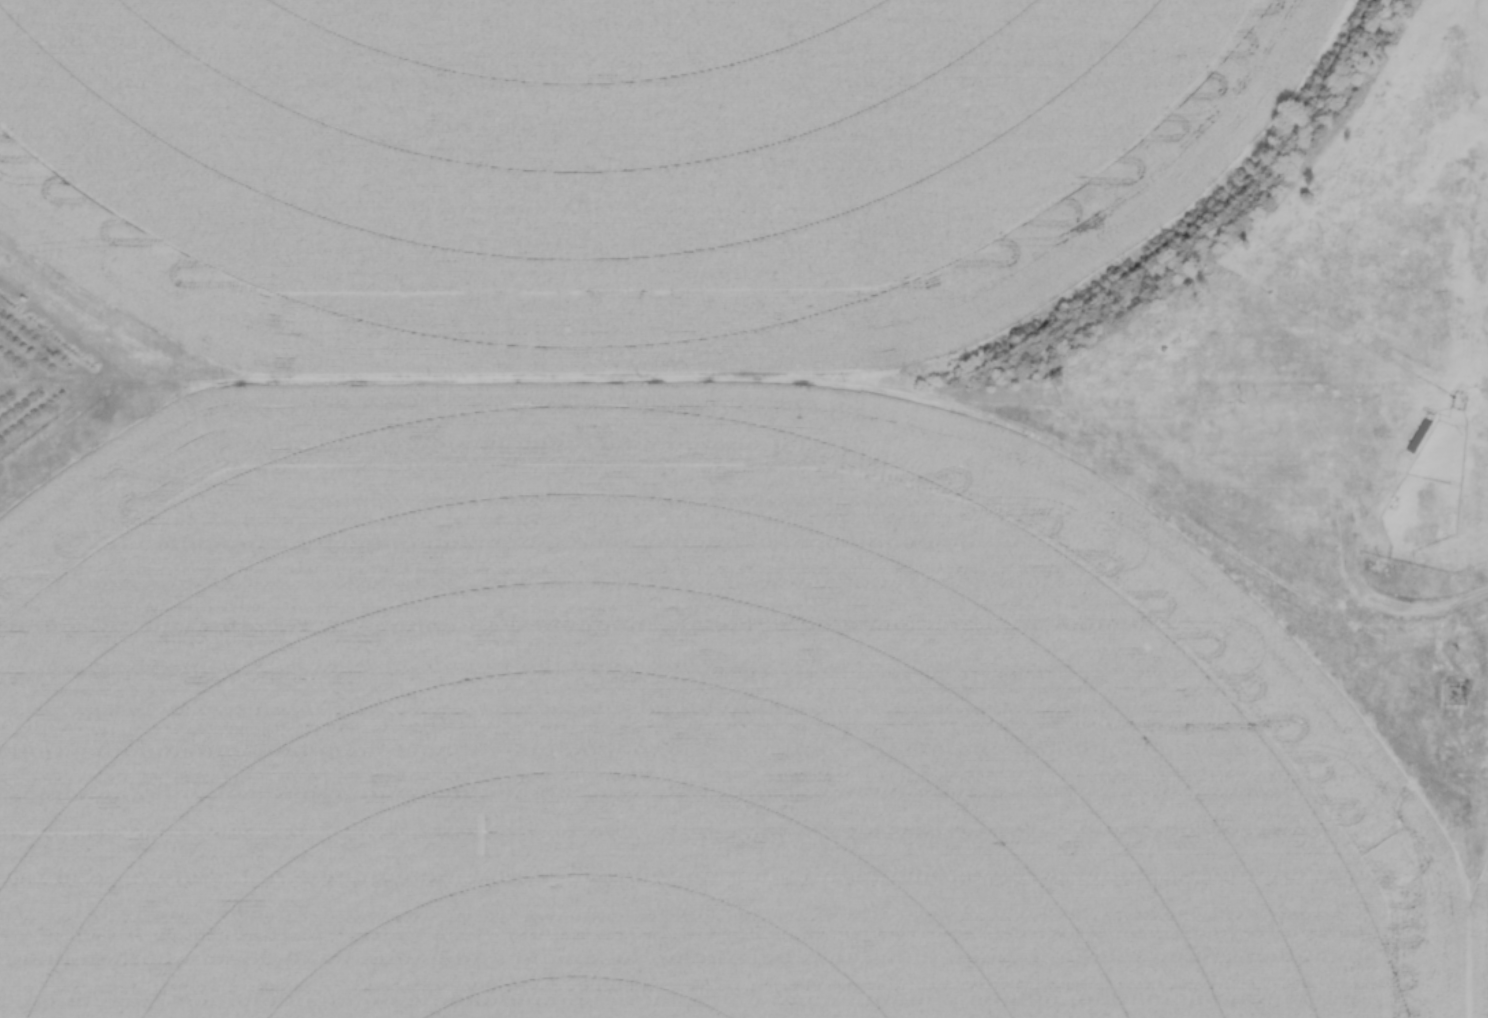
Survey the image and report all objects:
building: (1420, 436)
road: (1427, 624)

